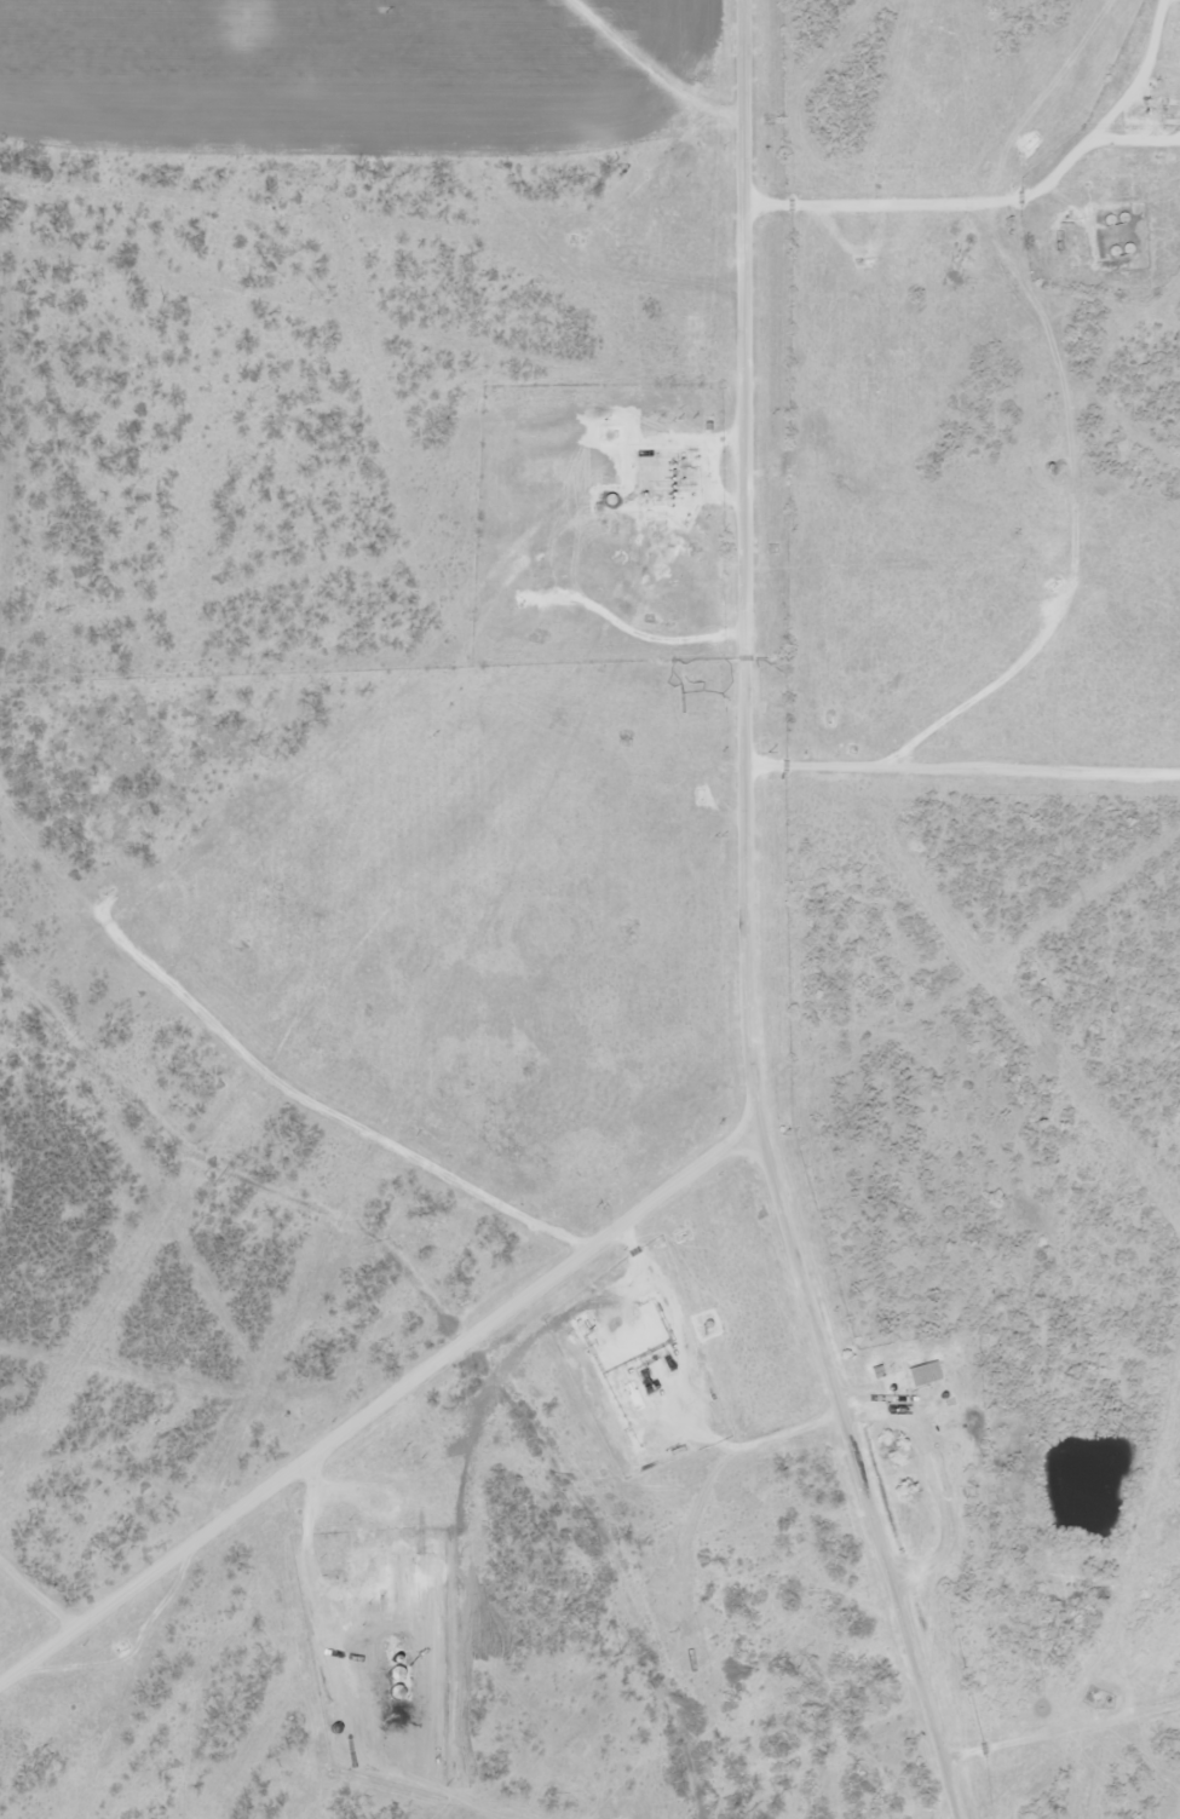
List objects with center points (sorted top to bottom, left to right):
road: (669, 57)
building: (1169, 110)
road: (967, 190)
road: (750, 925)
road: (173, 936)
road: (372, 1368)
building: (874, 1370)
building: (923, 1371)
building: (892, 1381)
building: (618, 1398)

